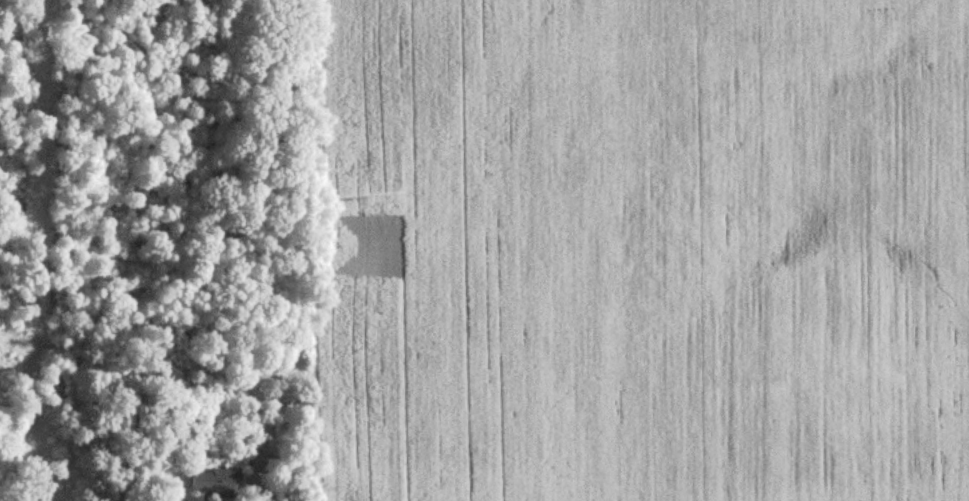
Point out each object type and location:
building: (261, 431)
road: (255, 481)
building: (215, 485)

